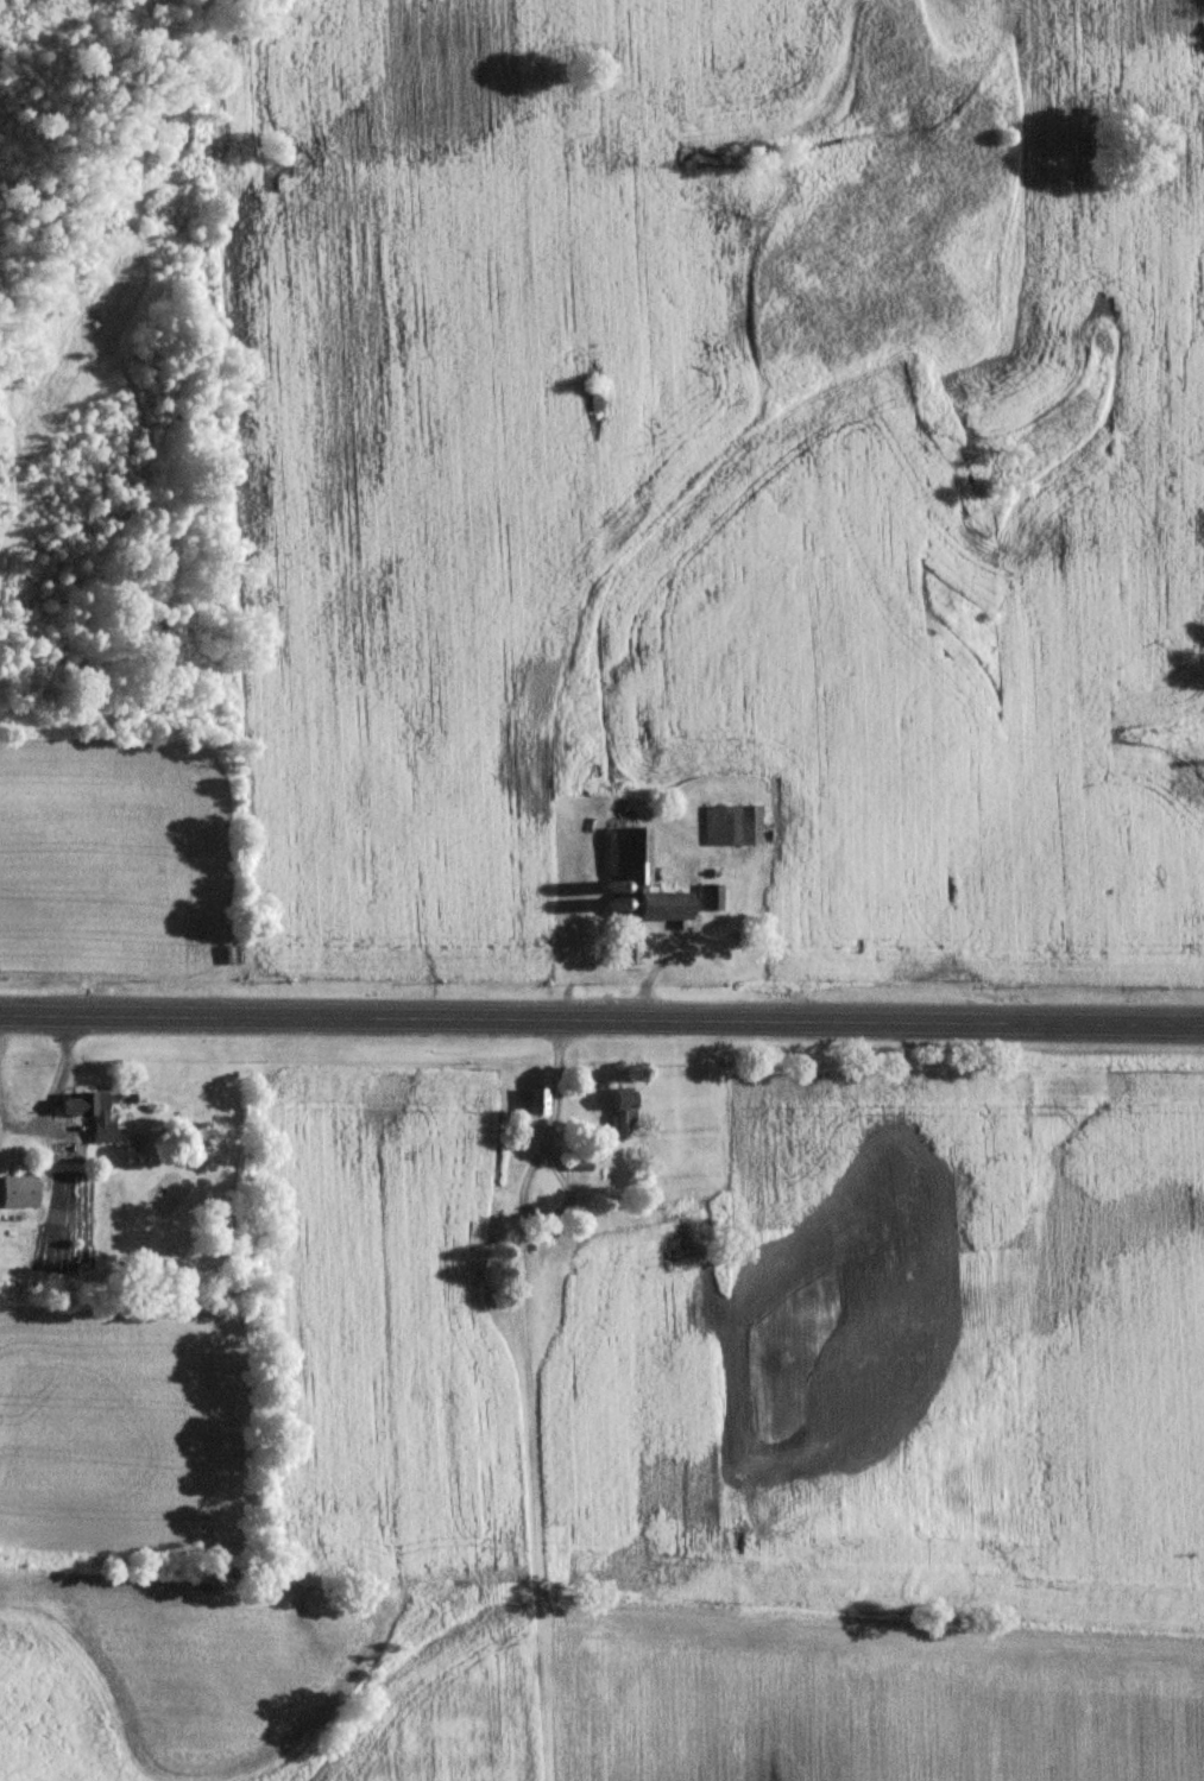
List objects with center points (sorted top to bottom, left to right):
building: (592, 397)
building: (727, 825)
building: (625, 853)
building: (707, 896)
building: (656, 904)
building: (625, 951)
road: (601, 1018)
road: (52, 1085)
building: (532, 1100)
building: (618, 1110)
building: (89, 1111)
building: (574, 1160)
road: (524, 1173)
building: (17, 1189)

